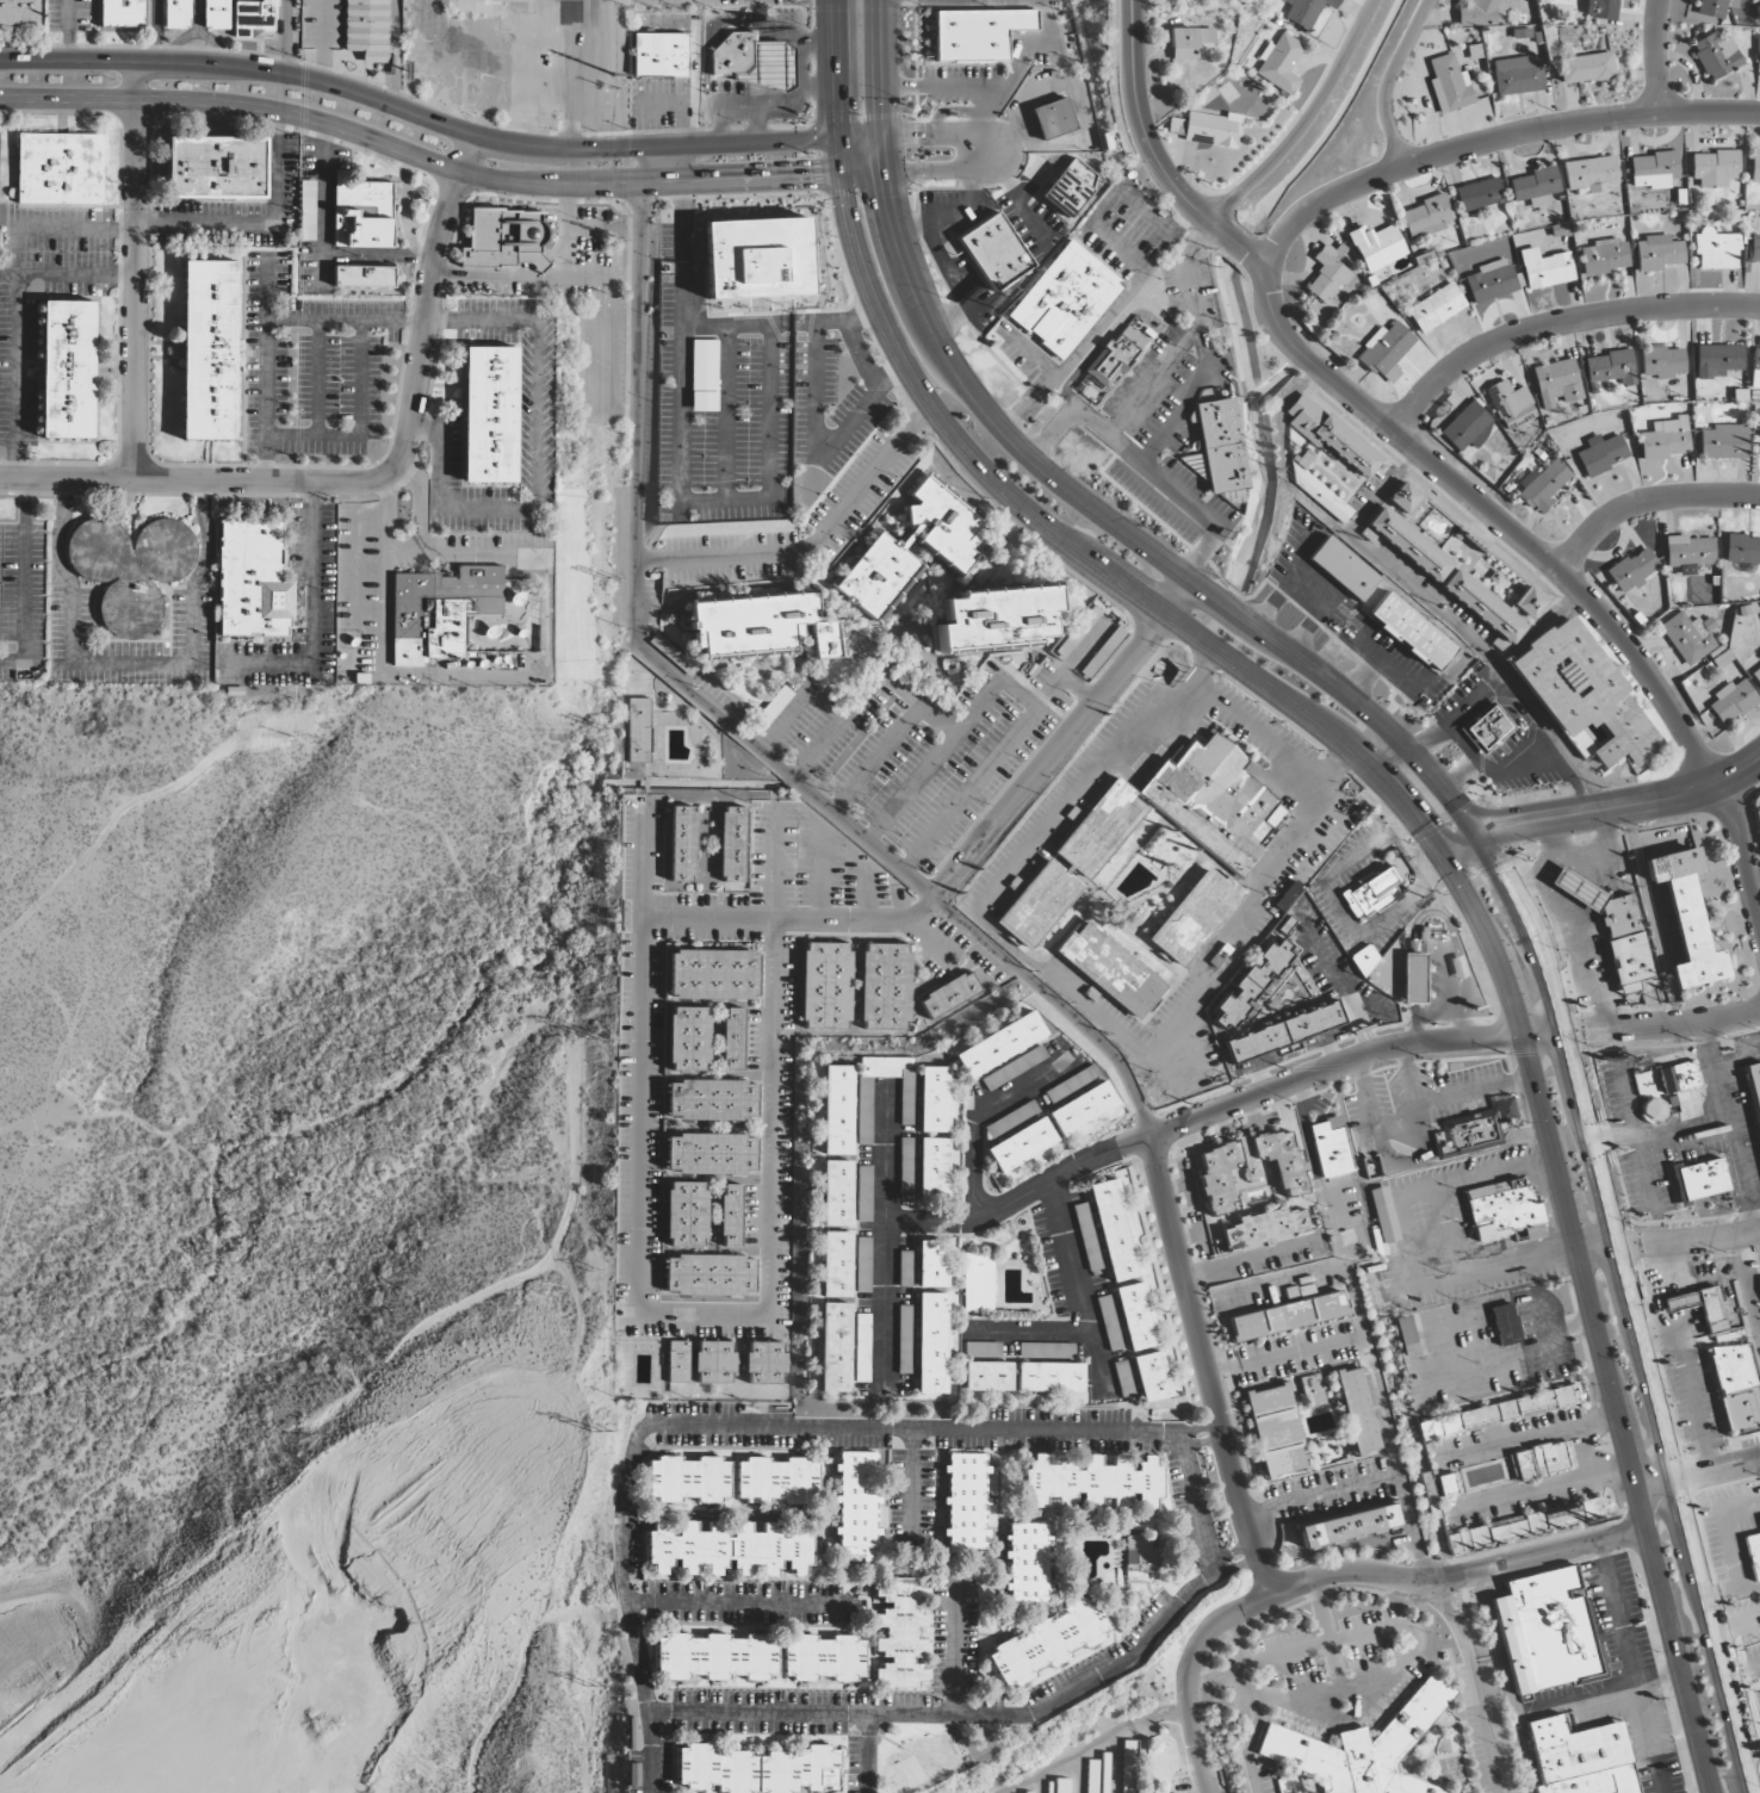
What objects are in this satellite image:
building: (1710, 8)
building: (1307, 10)
building: (1603, 10)
building: (1480, 12)
building: (19, 13)
building: (123, 13)
building: (216, 13)
building: (176, 14)
building: (252, 15)
road: (395, 19)
building: (366, 29)
building: (978, 33)
road: (393, 39)
road: (323, 41)
building: (1189, 43)
building: (659, 55)
road: (1657, 56)
building: (1716, 56)
building: (752, 62)
gas station: (752, 62)
building: (1279, 63)
building: (1585, 68)
road: (589, 77)
building: (1518, 79)
road: (1387, 80)
building: (1449, 85)
power tower: (611, 87)
road: (980, 87)
road: (392, 88)
traffic signals: (836, 110)
road: (984, 112)
building: (1052, 118)
road: (438, 122)
road: (1304, 122)
building: (1176, 128)
road: (1141, 130)
building: (1213, 130)
traffic signals: (925, 136)
road: (947, 136)
road: (1492, 141)
road: (1053, 161)
road: (436, 165)
building: (217, 167)
building: (60, 168)
building: (1713, 168)
building: (1755, 169)
road: (943, 170)
building: (1654, 170)
building: (1589, 174)
traffic signals: (805, 176)
building: (1535, 184)
building: (1065, 193)
building: (1479, 194)
traffic signals: (884, 200)
road: (1103, 206)
road: (1020, 207)
building: (306, 210)
building: (361, 212)
road: (944, 213)
road: (680, 216)
building: (1426, 216)
power tower: (605, 219)
road: (47, 230)
building: (504, 238)
road: (1238, 243)
building: (1376, 247)
building: (1716, 250)
building: (1754, 250)
building: (993, 253)
building: (1657, 253)
building: (1605, 256)
building: (757, 259)
road: (1260, 261)
road: (948, 263)
building: (1545, 268)
road: (135, 269)
building: (1327, 273)
building: (364, 277)
building: (1489, 281)
building: (1064, 299)
building: (1436, 308)
road: (861, 315)
road: (949, 316)
road: (16, 318)
road: (762, 324)
road: (1558, 324)
road: (1089, 331)
road: (1111, 331)
road: (1200, 348)
building: (209, 349)
road: (1033, 352)
building: (1384, 352)
road: (860, 354)
building: (1115, 358)
building: (1719, 361)
building: (1662, 362)
building: (1610, 368)
building: (1755, 368)
building: (68, 370)
building: (702, 376)
road: (1148, 380)
building: (1556, 384)
road: (678, 391)
building: (1510, 404)
road: (724, 412)
building: (489, 414)
road: (636, 414)
building: (1467, 427)
road: (1051, 432)
road: (1009, 435)
building: (1330, 435)
building: (1666, 439)
building: (1724, 442)
road: (816, 446)
building: (1219, 446)
building: (1759, 448)
building: (1603, 454)
road: (769, 457)
road: (1145, 469)
road: (371, 482)
building: (1543, 485)
building: (1318, 490)
road: (1381, 494)
building: (1405, 498)
road: (1646, 502)
road: (1336, 528)
road: (810, 541)
building: (1407, 544)
building: (947, 547)
road: (409, 550)
building: (1742, 550)
road: (1201, 552)
building: (1690, 552)
building: (130, 558)
road: (1549, 564)
building: (1344, 567)
building: (1632, 570)
power tower: (603, 577)
road: (1289, 579)
building: (253, 582)
building: (1529, 603)
road: (1325, 604)
building: (1485, 609)
building: (440, 610)
road: (314, 614)
building: (990, 618)
building: (761, 626)
building: (1412, 631)
building: (1078, 632)
building: (1688, 637)
road: (518, 672)
building: (1756, 676)
road: (1077, 688)
road: (869, 689)
road: (1016, 693)
building: (1582, 693)
building: (1731, 702)
building: (775, 703)
road: (1518, 707)
road: (785, 715)
road: (1458, 716)
power tower: (600, 721)
building: (1487, 728)
building: (638, 730)
road: (1549, 731)
road: (1059, 739)
road: (1000, 747)
road: (1457, 747)
road: (876, 756)
road: (931, 762)
road: (1499, 773)
road: (1402, 802)
building: (1211, 804)
road: (1601, 808)
road: (116, 815)
building: (1758, 821)
traffic signals: (1508, 824)
traffic signals: (1421, 825)
building: (1099, 829)
building: (682, 843)
building: (732, 844)
road: (774, 861)
road: (819, 871)
traffic signals: (1498, 876)
road: (905, 880)
road: (866, 892)
building: (1374, 894)
building: (1039, 905)
road: (787, 917)
building: (1195, 917)
building: (1686, 918)
building: (1612, 927)
building: (1364, 960)
building: (1110, 969)
building: (713, 975)
building: (1413, 979)
building: (826, 986)
building: (885, 986)
building: (1251, 986)
road: (1066, 989)
building: (949, 994)
road: (75, 1018)
road: (1642, 1026)
building: (1283, 1032)
power tower: (591, 1038)
building: (687, 1038)
building: (731, 1038)
building: (998, 1044)
road: (640, 1057)
road: (1739, 1059)
building: (1011, 1068)
road: (1332, 1069)
building: (1673, 1079)
building: (1068, 1084)
building: (1753, 1091)
building: (932, 1099)
building: (712, 1100)
building: (863, 1102)
building: (1080, 1109)
building: (836, 1110)
road: (111, 1115)
road: (770, 1117)
building: (1009, 1119)
road: (1728, 1127)
building: (1475, 1130)
road: (1681, 1131)
road: (1612, 1137)
road: (1635, 1137)
building: (1018, 1144)
building: (1332, 1150)
building: (711, 1154)
road: (571, 1158)
building: (1281, 1159)
building: (905, 1166)
building: (932, 1171)
building: (1217, 1177)
road: (18, 1180)
building: (1698, 1180)
building: (835, 1192)
building: (862, 1195)
road: (978, 1205)
building: (1501, 1212)
building: (686, 1214)
building: (730, 1215)
building: (1383, 1215)
road: (935, 1226)
building: (1264, 1227)
building: (1113, 1230)
road: (881, 1235)
building: (1086, 1237)
road: (1612, 1237)
road: (1668, 1242)
building: (931, 1264)
building: (835, 1265)
building: (861, 1265)
building: (904, 1268)
building: (709, 1276)
building: (1759, 1280)
building: (978, 1283)
road: (1744, 1295)
building: (1702, 1308)
road: (1084, 1314)
building: (1289, 1314)
building: (1134, 1316)
road: (702, 1317)
building: (1108, 1322)
building: (1504, 1324)
road: (1371, 1334)
building: (1406, 1338)
building: (903, 1339)
building: (930, 1344)
building: (832, 1347)
building: (860, 1348)
building: (981, 1350)
building: (1045, 1351)
building: (677, 1361)
building: (714, 1363)
building: (764, 1363)
road: (1207, 1366)
building: (1149, 1376)
building: (987, 1377)
building: (1049, 1377)
building: (1122, 1378)
building: (1736, 1388)
building: (1312, 1390)
building: (1356, 1410)
building: (1495, 1414)
road: (337, 1428)
building: (1275, 1431)
road: (1210, 1432)
power tower: (591, 1433)
road: (921, 1433)
road: (1192, 1434)
road: (1221, 1437)
road: (1214, 1444)
road: (1194, 1447)
building: (1541, 1462)
road: (1694, 1477)
building: (688, 1479)
building: (775, 1479)
building: (1092, 1483)
building: (1436, 1490)
road: (1326, 1491)
building: (965, 1501)
building: (855, 1506)
building: (1525, 1525)
building: (1347, 1526)
road: (552, 1528)
building: (726, 1550)
building: (1753, 1553)
building: (1139, 1555)
road: (1252, 1557)
road: (1248, 1559)
building: (1027, 1563)
road: (1220, 1566)
road: (1456, 1575)
road: (731, 1607)
building: (1547, 1631)
building: (900, 1632)
road: (1202, 1639)
building: (1046, 1642)
road: (1413, 1642)
building: (715, 1657)
building: (823, 1658)
road: (1742, 1670)
road: (1475, 1682)
power tower: (587, 1686)
road: (1309, 1694)
road: (1747, 1714)
road: (814, 1718)
road: (1095, 1744)
road: (1248, 1744)
building: (1361, 1748)
road: (1198, 1751)
road: (655, 1754)
road: (869, 1756)
building: (1580, 1758)
park: (927, 1763)
building: (1128, 1767)
building: (755, 1769)
building: (1096, 1775)
building: (1056, 1786)
building: (1023, 1792)

